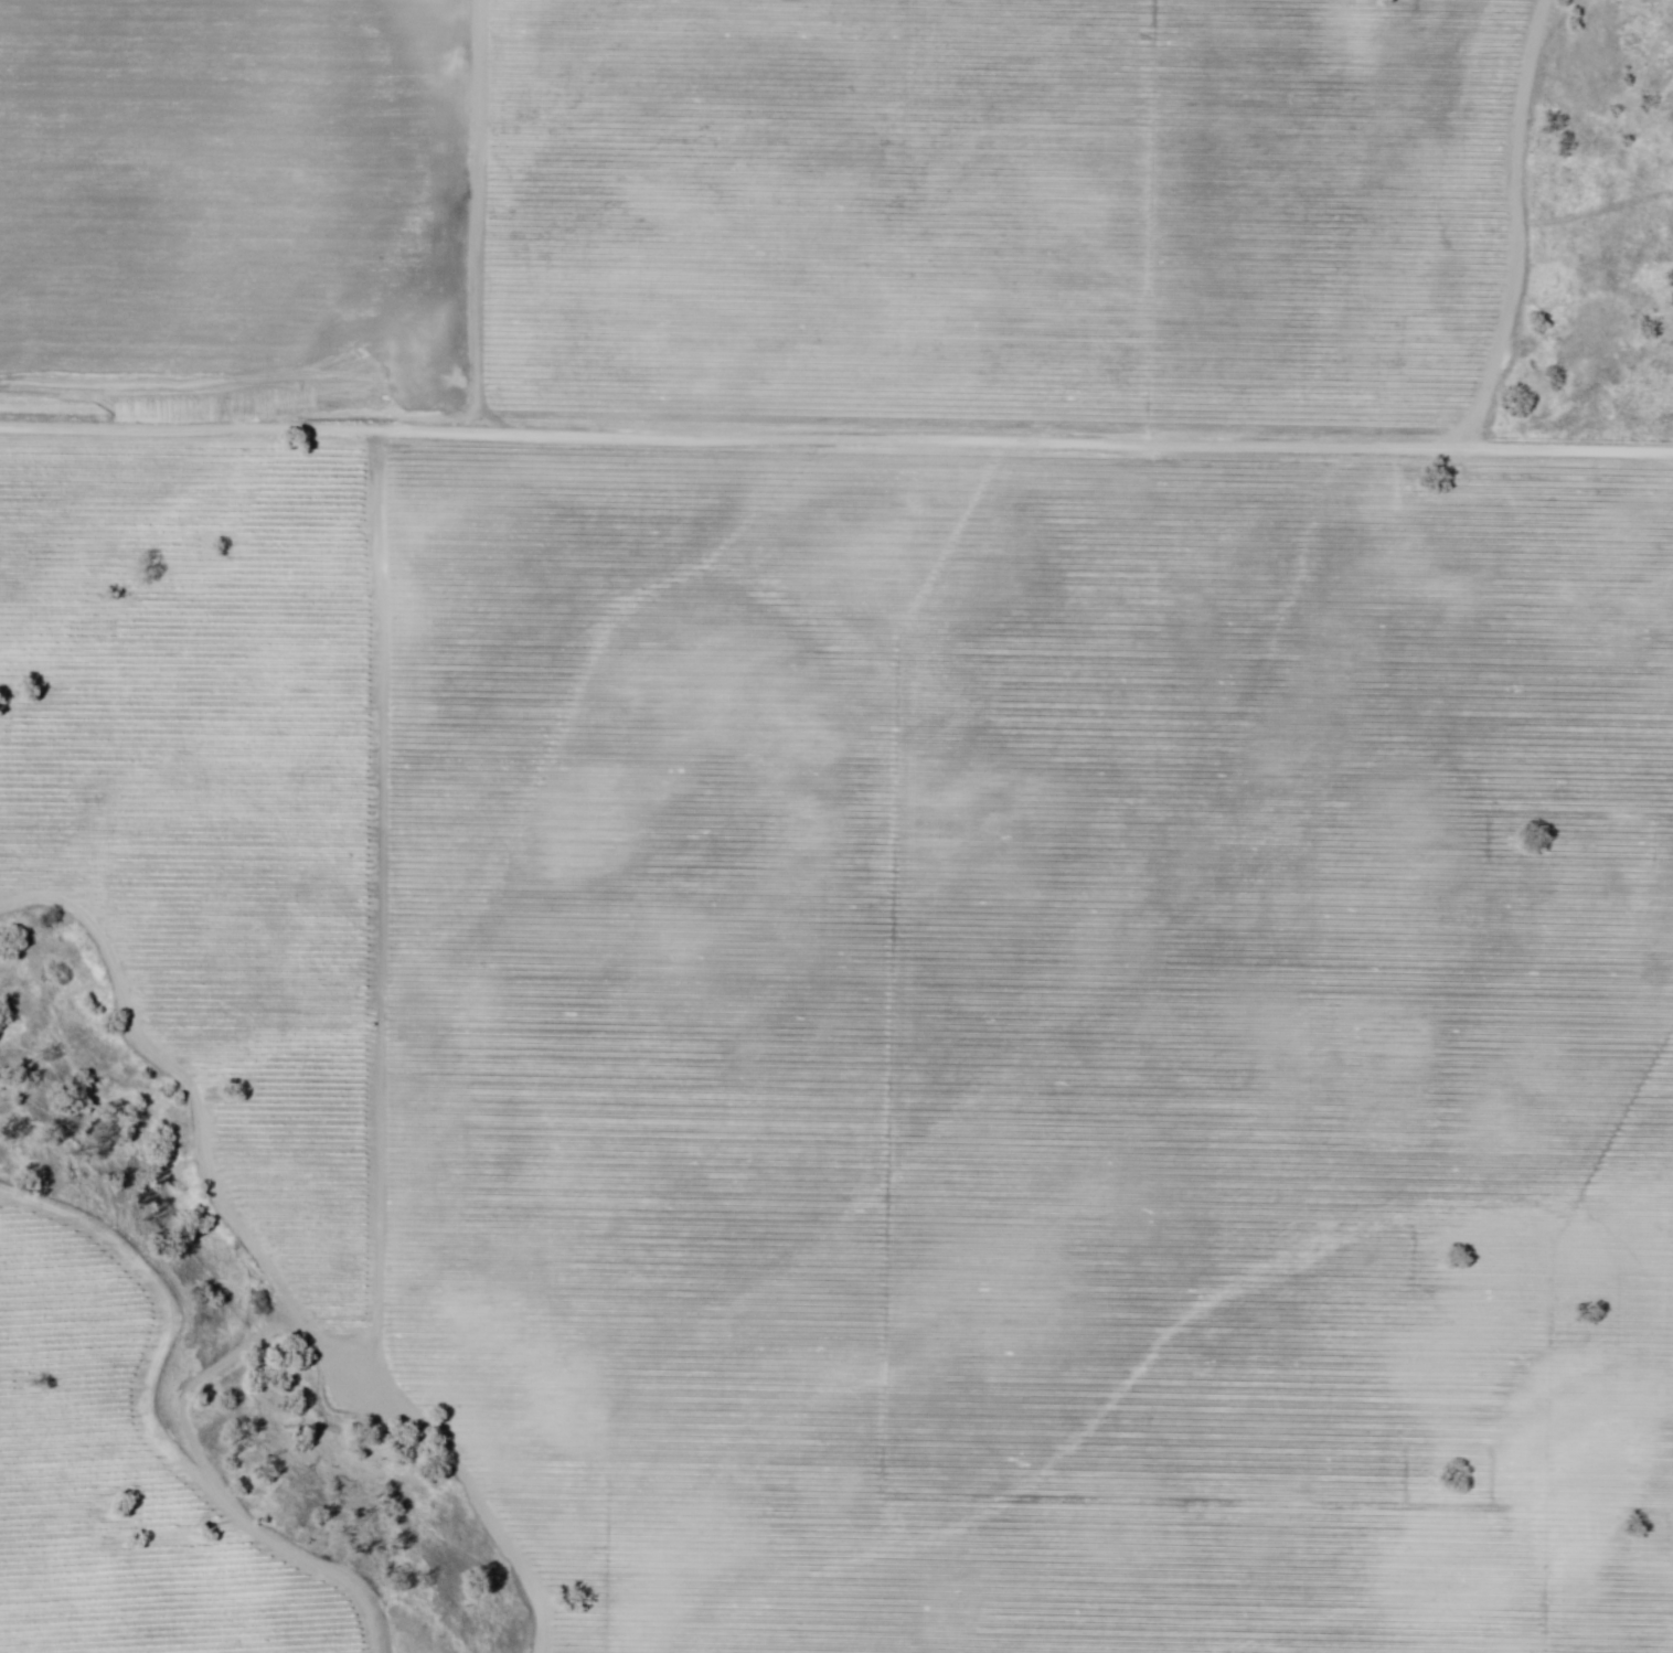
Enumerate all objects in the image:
road: (835, 440)

